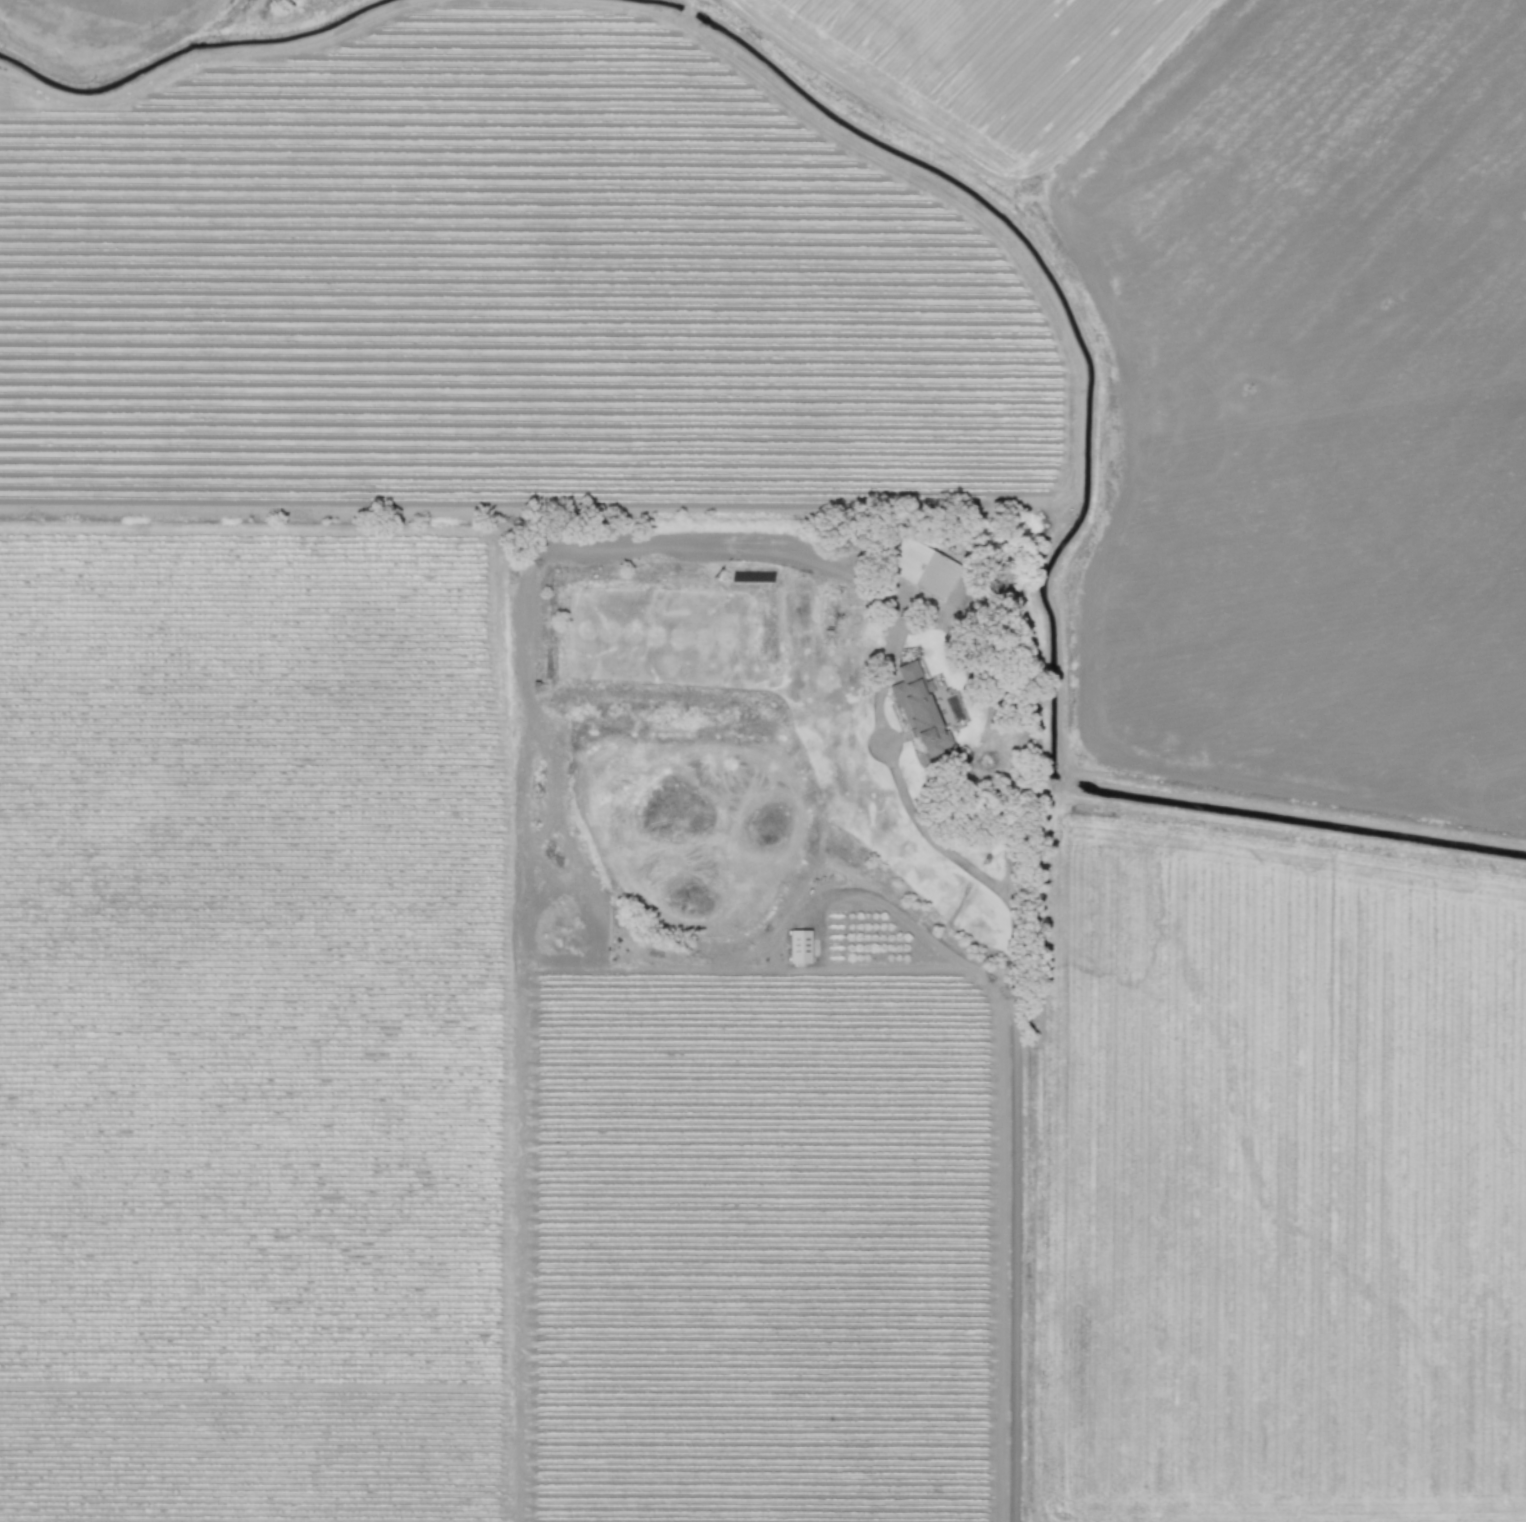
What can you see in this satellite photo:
building: (922, 565)
wind turbine: (714, 576)
building: (920, 711)
road: (1272, 815)
road: (931, 837)
road: (922, 929)
building: (800, 945)
road: (1020, 1046)

